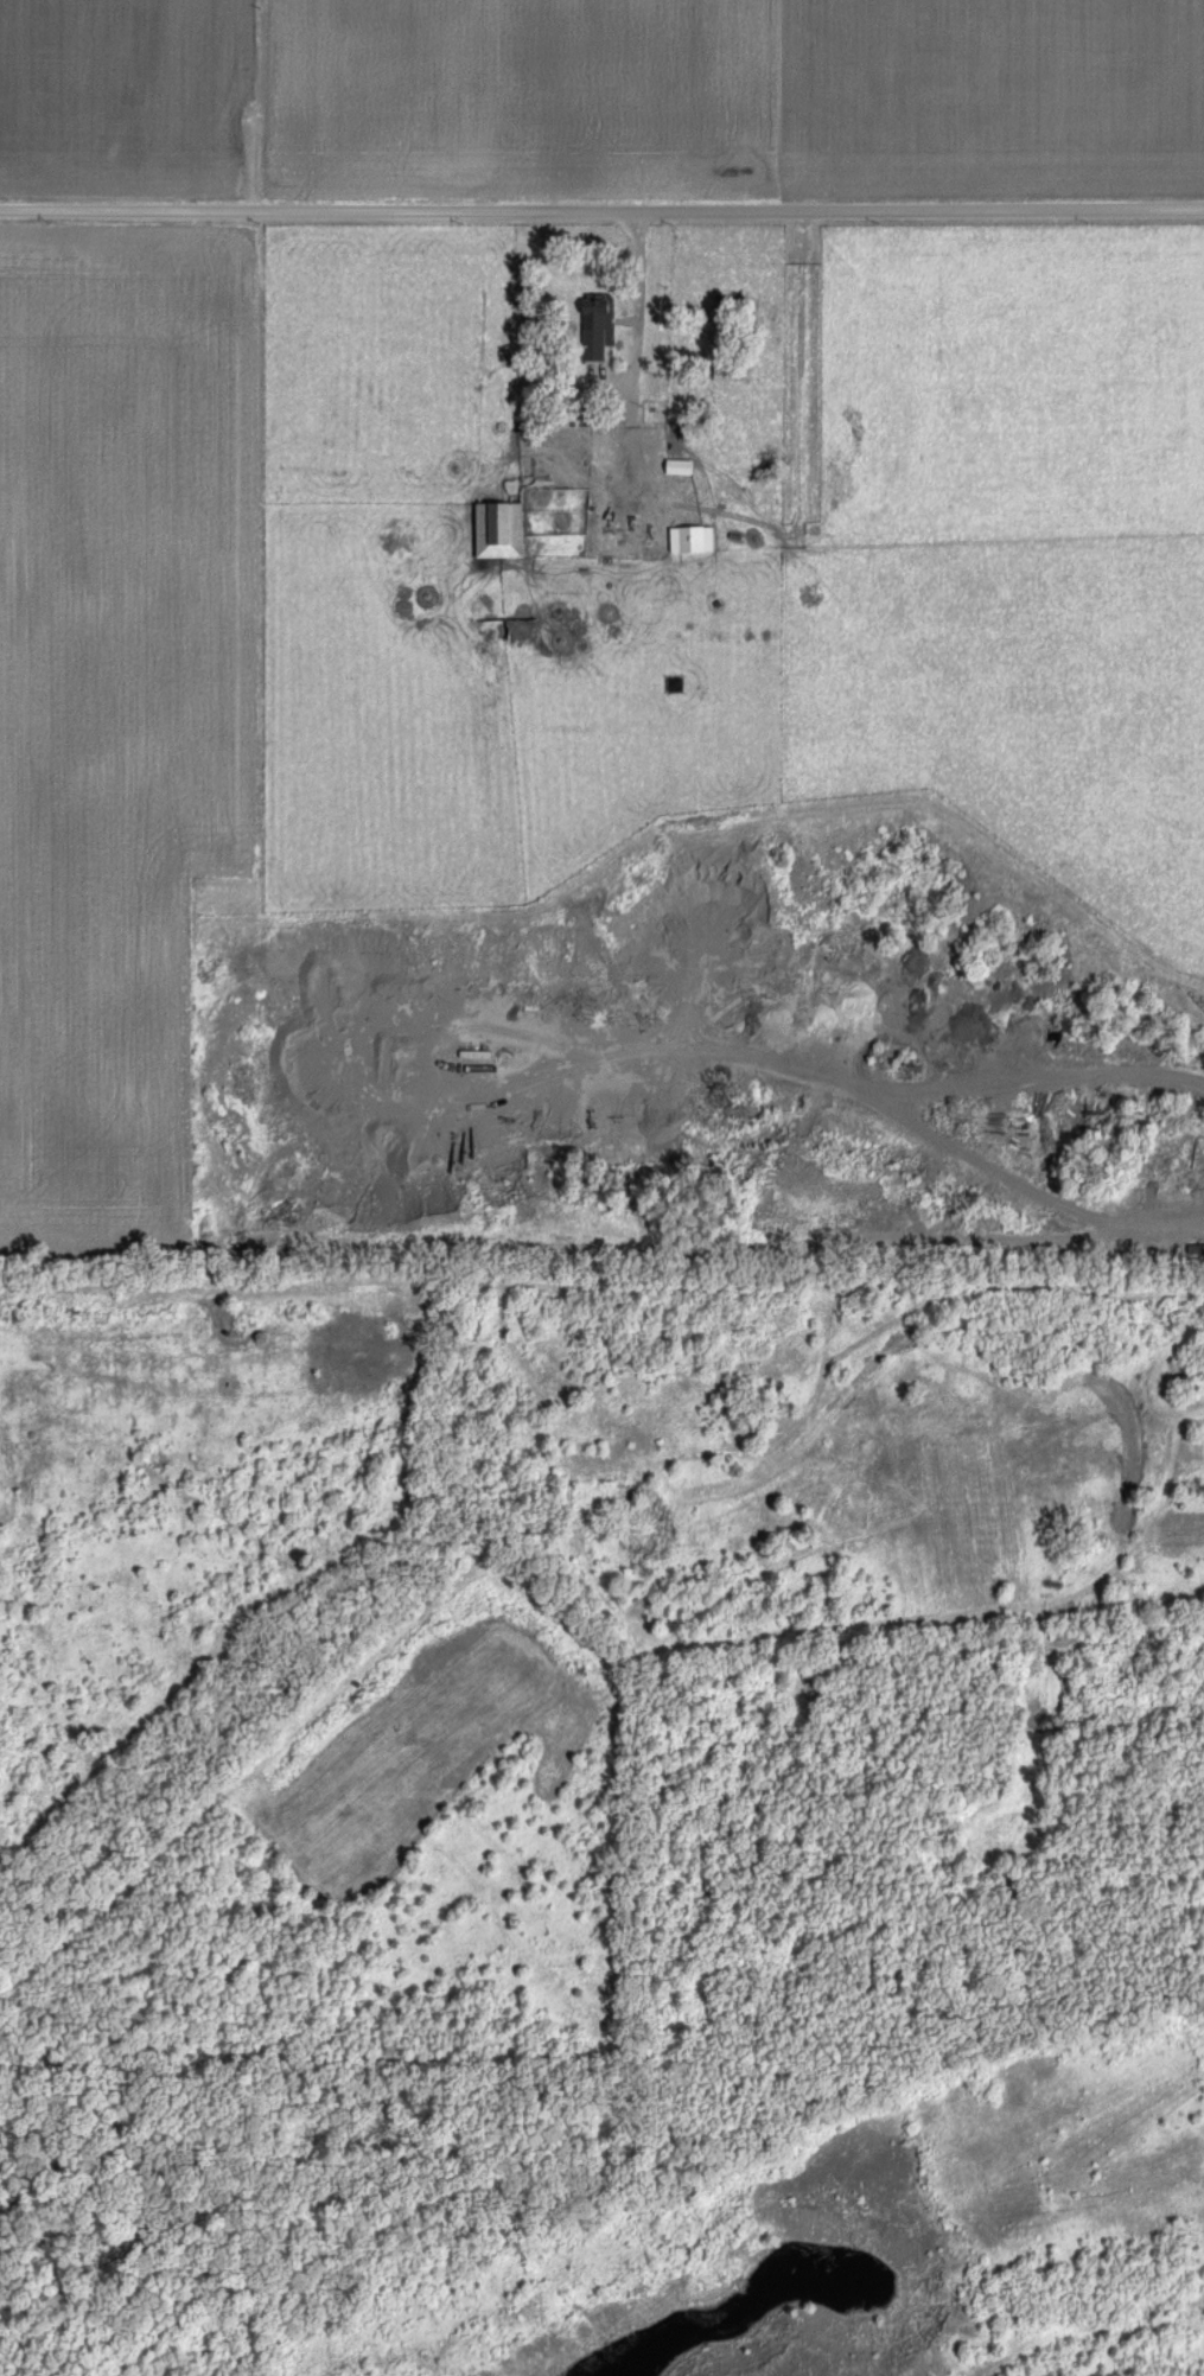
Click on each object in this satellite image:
road: (601, 208)
building: (594, 327)
building: (690, 541)

